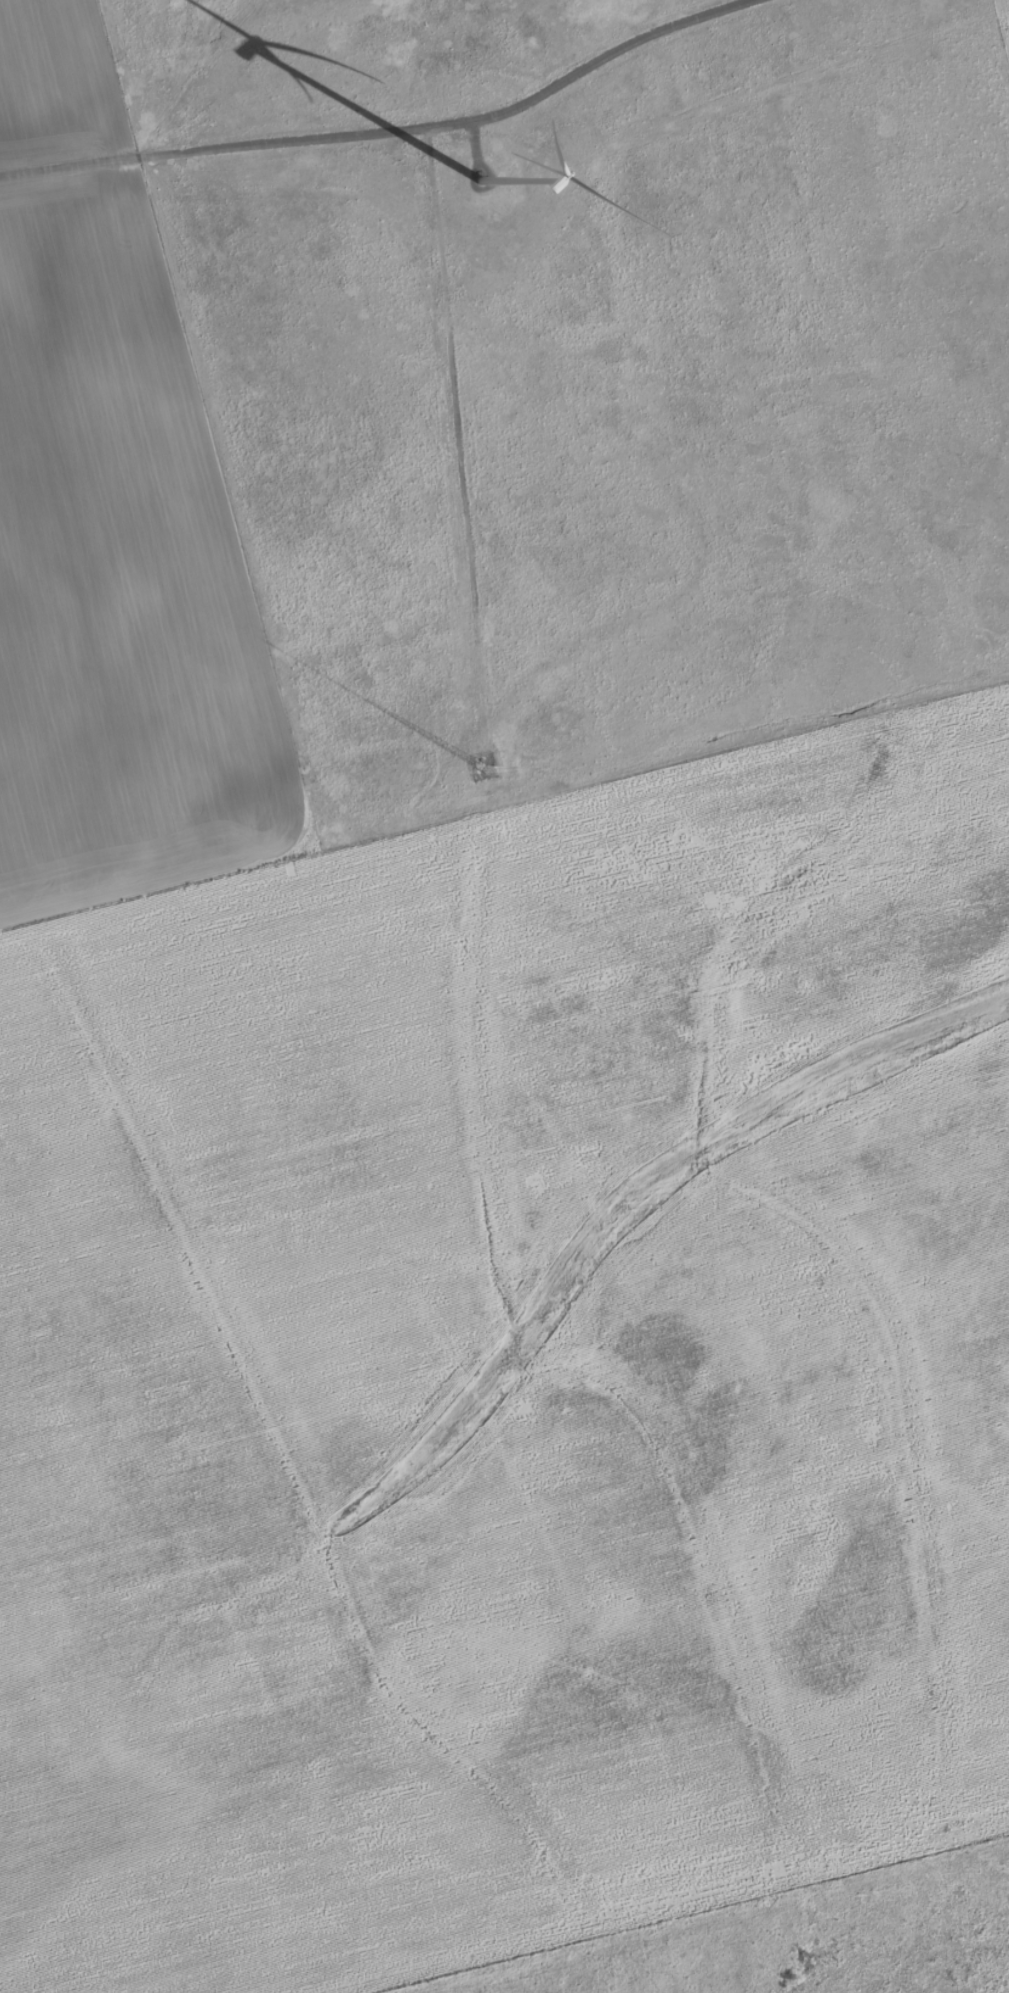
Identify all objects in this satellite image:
wind turbine: (477, 182)

